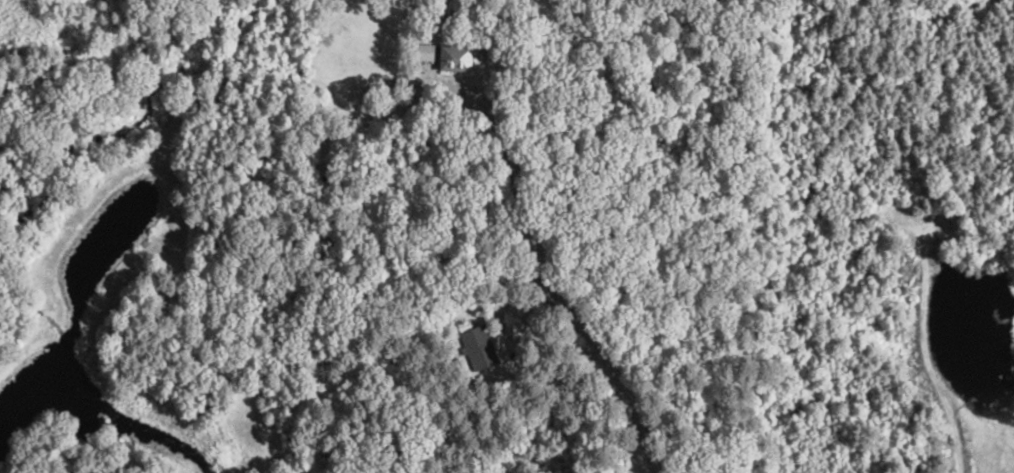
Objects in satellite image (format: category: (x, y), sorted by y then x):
building: (443, 57)
building: (475, 344)
road: (647, 460)

